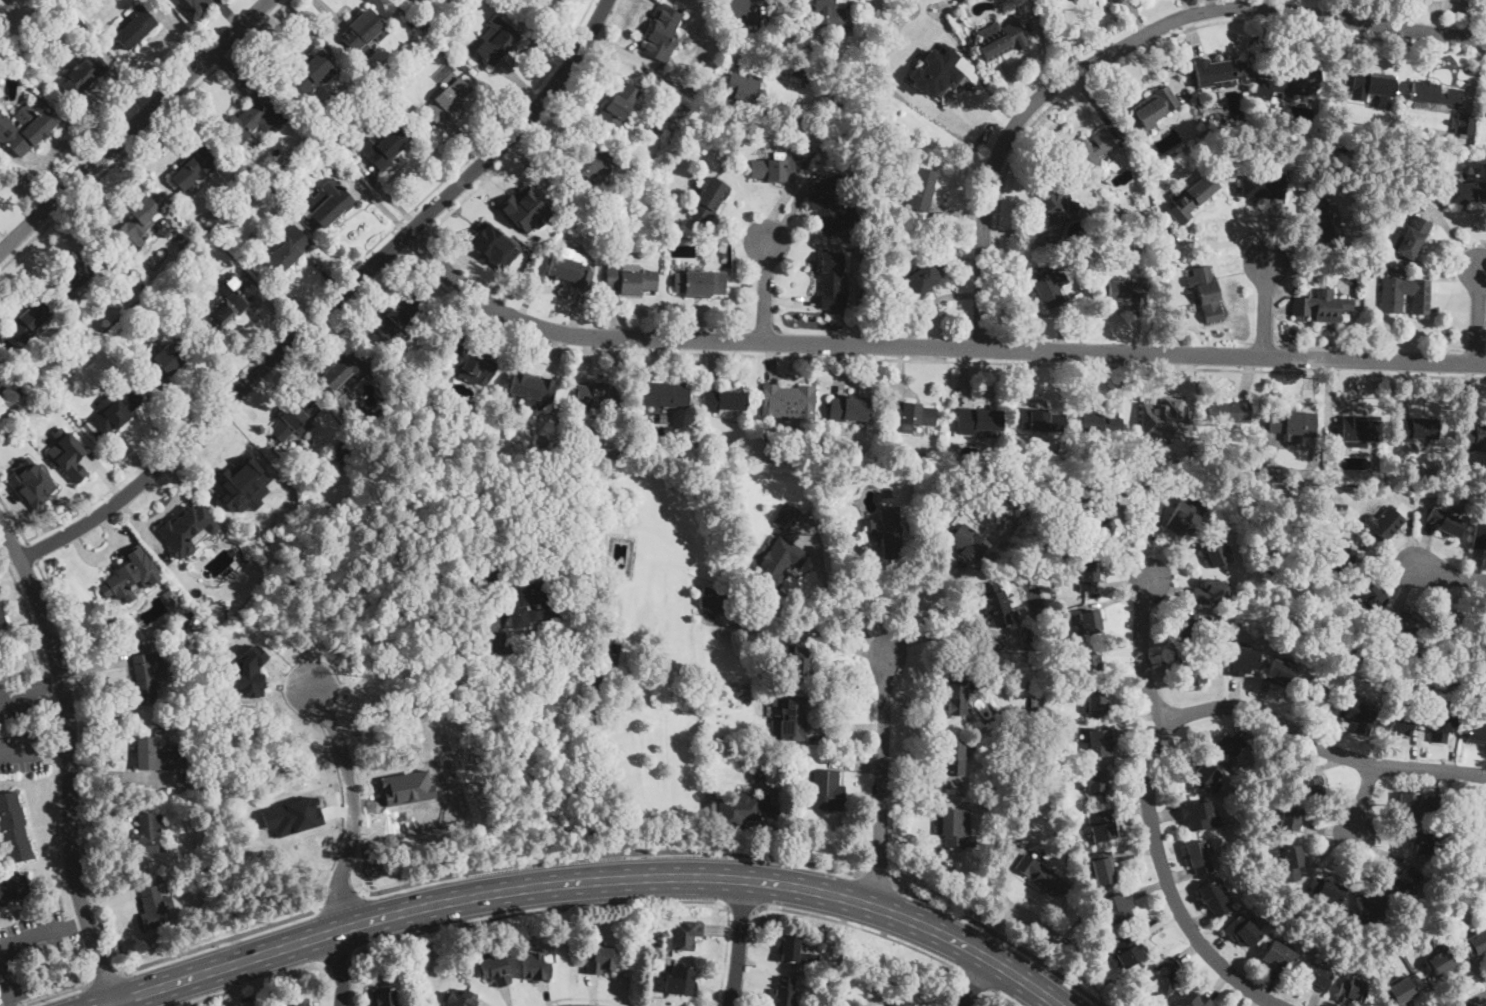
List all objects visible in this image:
building: (535, 1)
road: (745, 2)
building: (193, 9)
building: (827, 12)
park: (22, 20)
building: (409, 21)
building: (428, 22)
building: (135, 28)
building: (363, 31)
building: (662, 32)
building: (1000, 39)
building: (496, 41)
road: (1127, 43)
road: (1142, 50)
building: (935, 71)
building: (312, 72)
building: (1219, 72)
building: (868, 74)
building: (84, 75)
building: (692, 77)
building: (1288, 83)
building: (1371, 85)
building: (743, 86)
building: (1434, 95)
building: (388, 100)
building: (449, 101)
building: (619, 104)
building: (833, 105)
building: (1153, 108)
building: (254, 118)
building: (1464, 123)
road: (134, 125)
road: (518, 125)
building: (24, 129)
road: (141, 133)
building: (322, 142)
building: (384, 147)
building: (1091, 149)
building: (891, 150)
building: (194, 167)
building: (773, 169)
building: (582, 171)
building: (1262, 186)
building: (921, 189)
building: (1139, 191)
building: (1466, 192)
road: (464, 198)
building: (1190, 198)
building: (709, 200)
building: (826, 204)
building: (1059, 204)
building: (332, 206)
building: (524, 208)
building: (1323, 220)
road: (420, 222)
building: (137, 224)
building: (180, 236)
building: (1413, 238)
road: (414, 239)
road: (394, 241)
road: (1225, 243)
building: (492, 246)
building: (288, 250)
road: (466, 267)
building: (570, 270)
building: (1350, 270)
building: (1367, 272)
building: (78, 273)
building: (630, 278)
building: (833, 279)
building: (876, 279)
building: (917, 281)
building: (700, 283)
building: (1048, 286)
road: (327, 289)
road: (765, 291)
building: (1129, 291)
building: (1401, 292)
building: (1207, 293)
building: (75, 301)
building: (1322, 306)
building: (228, 308)
road: (1264, 309)
building: (400, 316)
road: (1477, 316)
building: (29, 322)
road: (930, 346)
road: (928, 358)
building: (167, 360)
building: (473, 361)
building: (340, 369)
building: (4, 380)
building: (532, 387)
building: (661, 395)
building: (601, 397)
building: (724, 400)
building: (788, 400)
road: (222, 405)
building: (850, 409)
building: (115, 410)
building: (1229, 414)
building: (912, 415)
building: (1163, 416)
building: (662, 417)
building: (295, 418)
building: (1041, 420)
building: (978, 421)
building: (570, 423)
building: (1294, 423)
building: (1099, 424)
building: (1419, 428)
building: (1361, 430)
building: (1474, 436)
building: (574, 448)
building: (347, 451)
building: (66, 454)
building: (621, 454)
building: (938, 465)
building: (31, 482)
building: (944, 485)
building: (233, 487)
building: (1342, 506)
building: (1142, 515)
building: (787, 517)
road: (14, 518)
building: (1184, 518)
building: (1095, 521)
building: (1444, 521)
building: (1385, 523)
building: (832, 525)
building: (1334, 528)
building: (189, 530)
building: (885, 531)
building: (1479, 533)
road: (10, 541)
building: (593, 542)
building: (969, 542)
road: (32, 550)
building: (1215, 553)
building: (573, 558)
building: (1345, 559)
building: (779, 562)
road: (1450, 573)
building: (486, 574)
building: (1089, 575)
building: (127, 577)
building: (1210, 592)
building: (1370, 594)
building: (713, 600)
building: (533, 601)
road: (871, 602)
building: (996, 604)
road: (28, 608)
road: (919, 609)
road: (848, 612)
building: (189, 618)
building: (1090, 621)
building: (1346, 622)
building: (1403, 623)
building: (2, 624)
building: (1188, 624)
building: (1450, 624)
building: (1481, 626)
building: (119, 628)
road: (946, 634)
building: (1034, 634)
building: (1059, 638)
building: (775, 649)
road: (1141, 653)
building: (1090, 658)
building: (798, 660)
building: (1244, 660)
building: (1189, 670)
building: (1279, 673)
building: (146, 676)
road: (47, 685)
building: (1317, 691)
road: (16, 693)
building: (957, 695)
building: (1097, 701)
building: (1037, 702)
building: (1037, 715)
building: (792, 716)
building: (1360, 717)
building: (1005, 718)
road: (1169, 723)
building: (1400, 724)
building: (1441, 726)
building: (1476, 733)
building: (1102, 741)
building: (723, 744)
building: (1227, 747)
building: (182, 748)
road: (56, 750)
road: (21, 752)
road: (606, 754)
building: (156, 755)
building: (954, 758)
building: (762, 762)
road: (85, 766)
building: (1305, 772)
building: (1201, 775)
road: (882, 778)
road: (70, 779)
building: (197, 780)
building: (1096, 781)
building: (1311, 788)
building: (827, 791)
road: (1364, 797)
building: (766, 799)
building: (1417, 804)
road: (354, 806)
building: (742, 811)
building: (1197, 815)
building: (1289, 819)
building: (1480, 824)
building: (1099, 826)
building: (14, 829)
building: (953, 829)
building: (149, 832)
building: (1018, 836)
building: (1425, 847)
road: (611, 852)
building: (1200, 857)
building: (1292, 857)
building: (1104, 867)
building: (1043, 876)
road: (876, 877)
road: (592, 878)
building: (1406, 880)
building: (13, 890)
building: (1328, 890)
building: (1215, 899)
road: (342, 900)
building: (1370, 902)
road: (742, 905)
building: (155, 907)
building: (1117, 907)
road: (529, 911)
building: (1065, 918)
road: (1032, 920)
road: (73, 923)
building: (184, 926)
road: (857, 926)
building: (1242, 931)
road: (997, 933)
building: (685, 934)
road: (30, 935)
road: (220, 939)
road: (739, 942)
building: (1473, 944)
building: (1128, 949)
building: (792, 950)
road: (724, 954)
building: (1278, 957)
road: (334, 959)
building: (600, 960)
building: (1439, 964)
road: (340, 967)
building: (534, 967)
building: (494, 970)
building: (1165, 976)
road: (103, 977)
building: (1316, 977)
road: (976, 978)
building: (680, 981)
road: (977, 981)
road: (248, 982)
road: (5, 988)
building: (1352, 991)
building: (784, 992)
building: (1400, 992)
road: (52, 994)
road: (1004, 996)
building: (383, 997)
road: (594, 997)
building: (459, 999)
building: (1193, 1000)
building: (295, 1002)
road: (104, 1003)
road: (112, 1003)
building: (900, 1004)
road: (1482, 1004)

